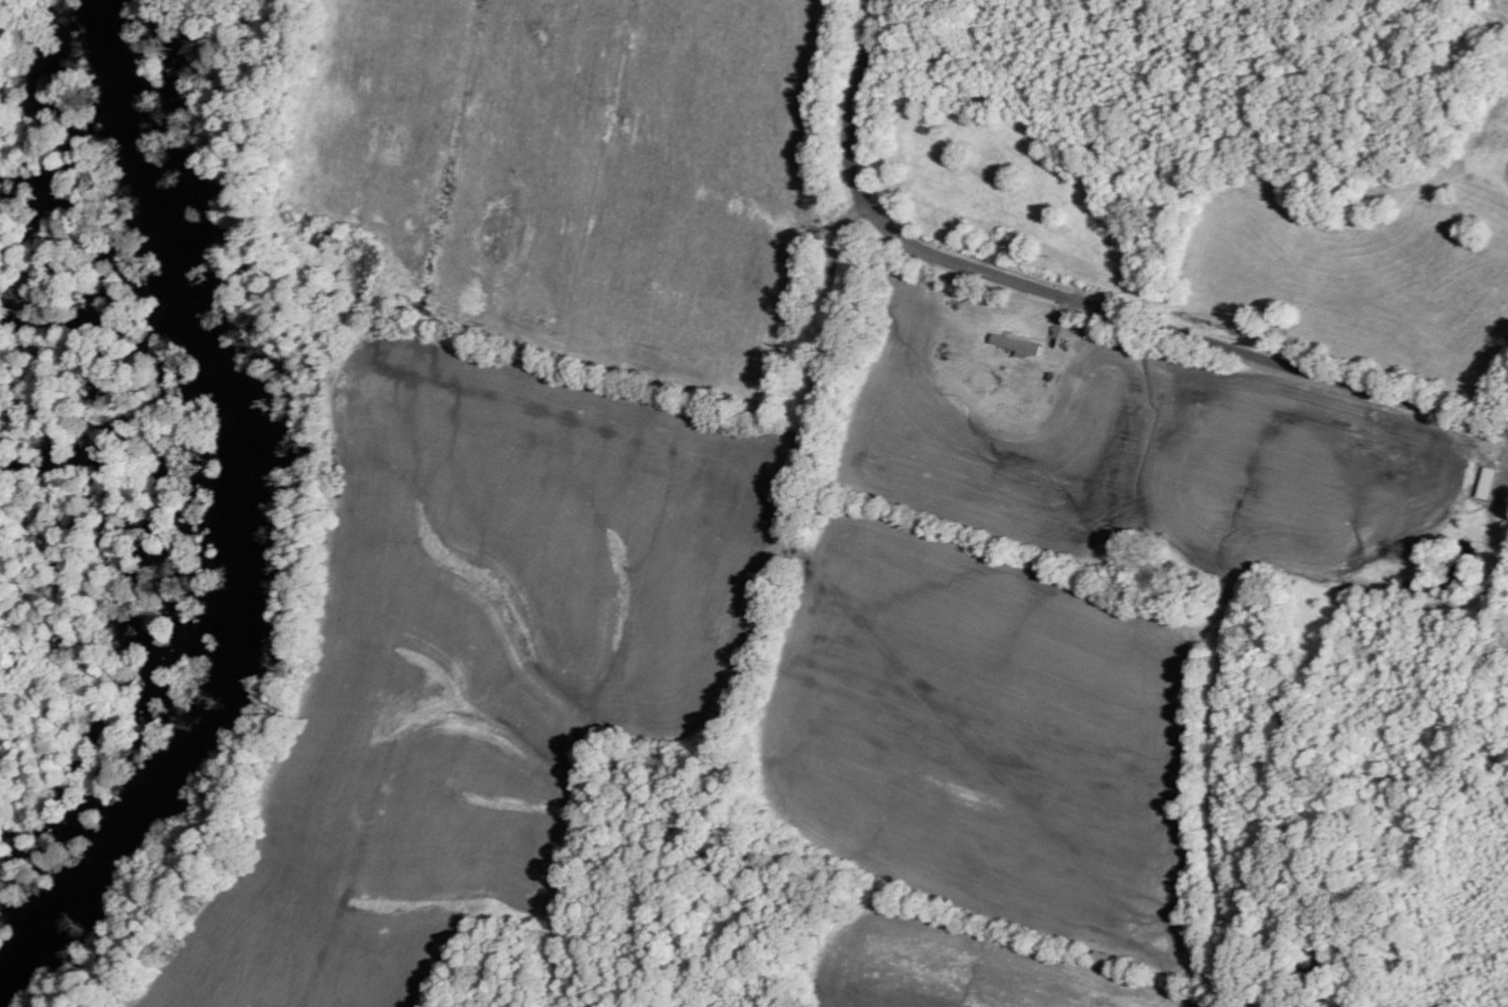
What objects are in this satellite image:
road: (1083, 300)
building: (1021, 345)
building: (1486, 483)
river: (249, 521)

